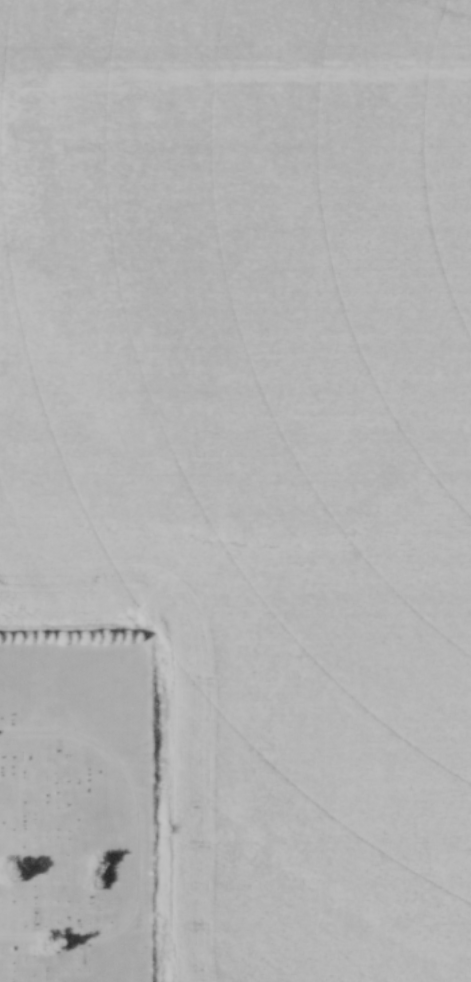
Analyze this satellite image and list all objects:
park: (82, 802)
road: (138, 848)

